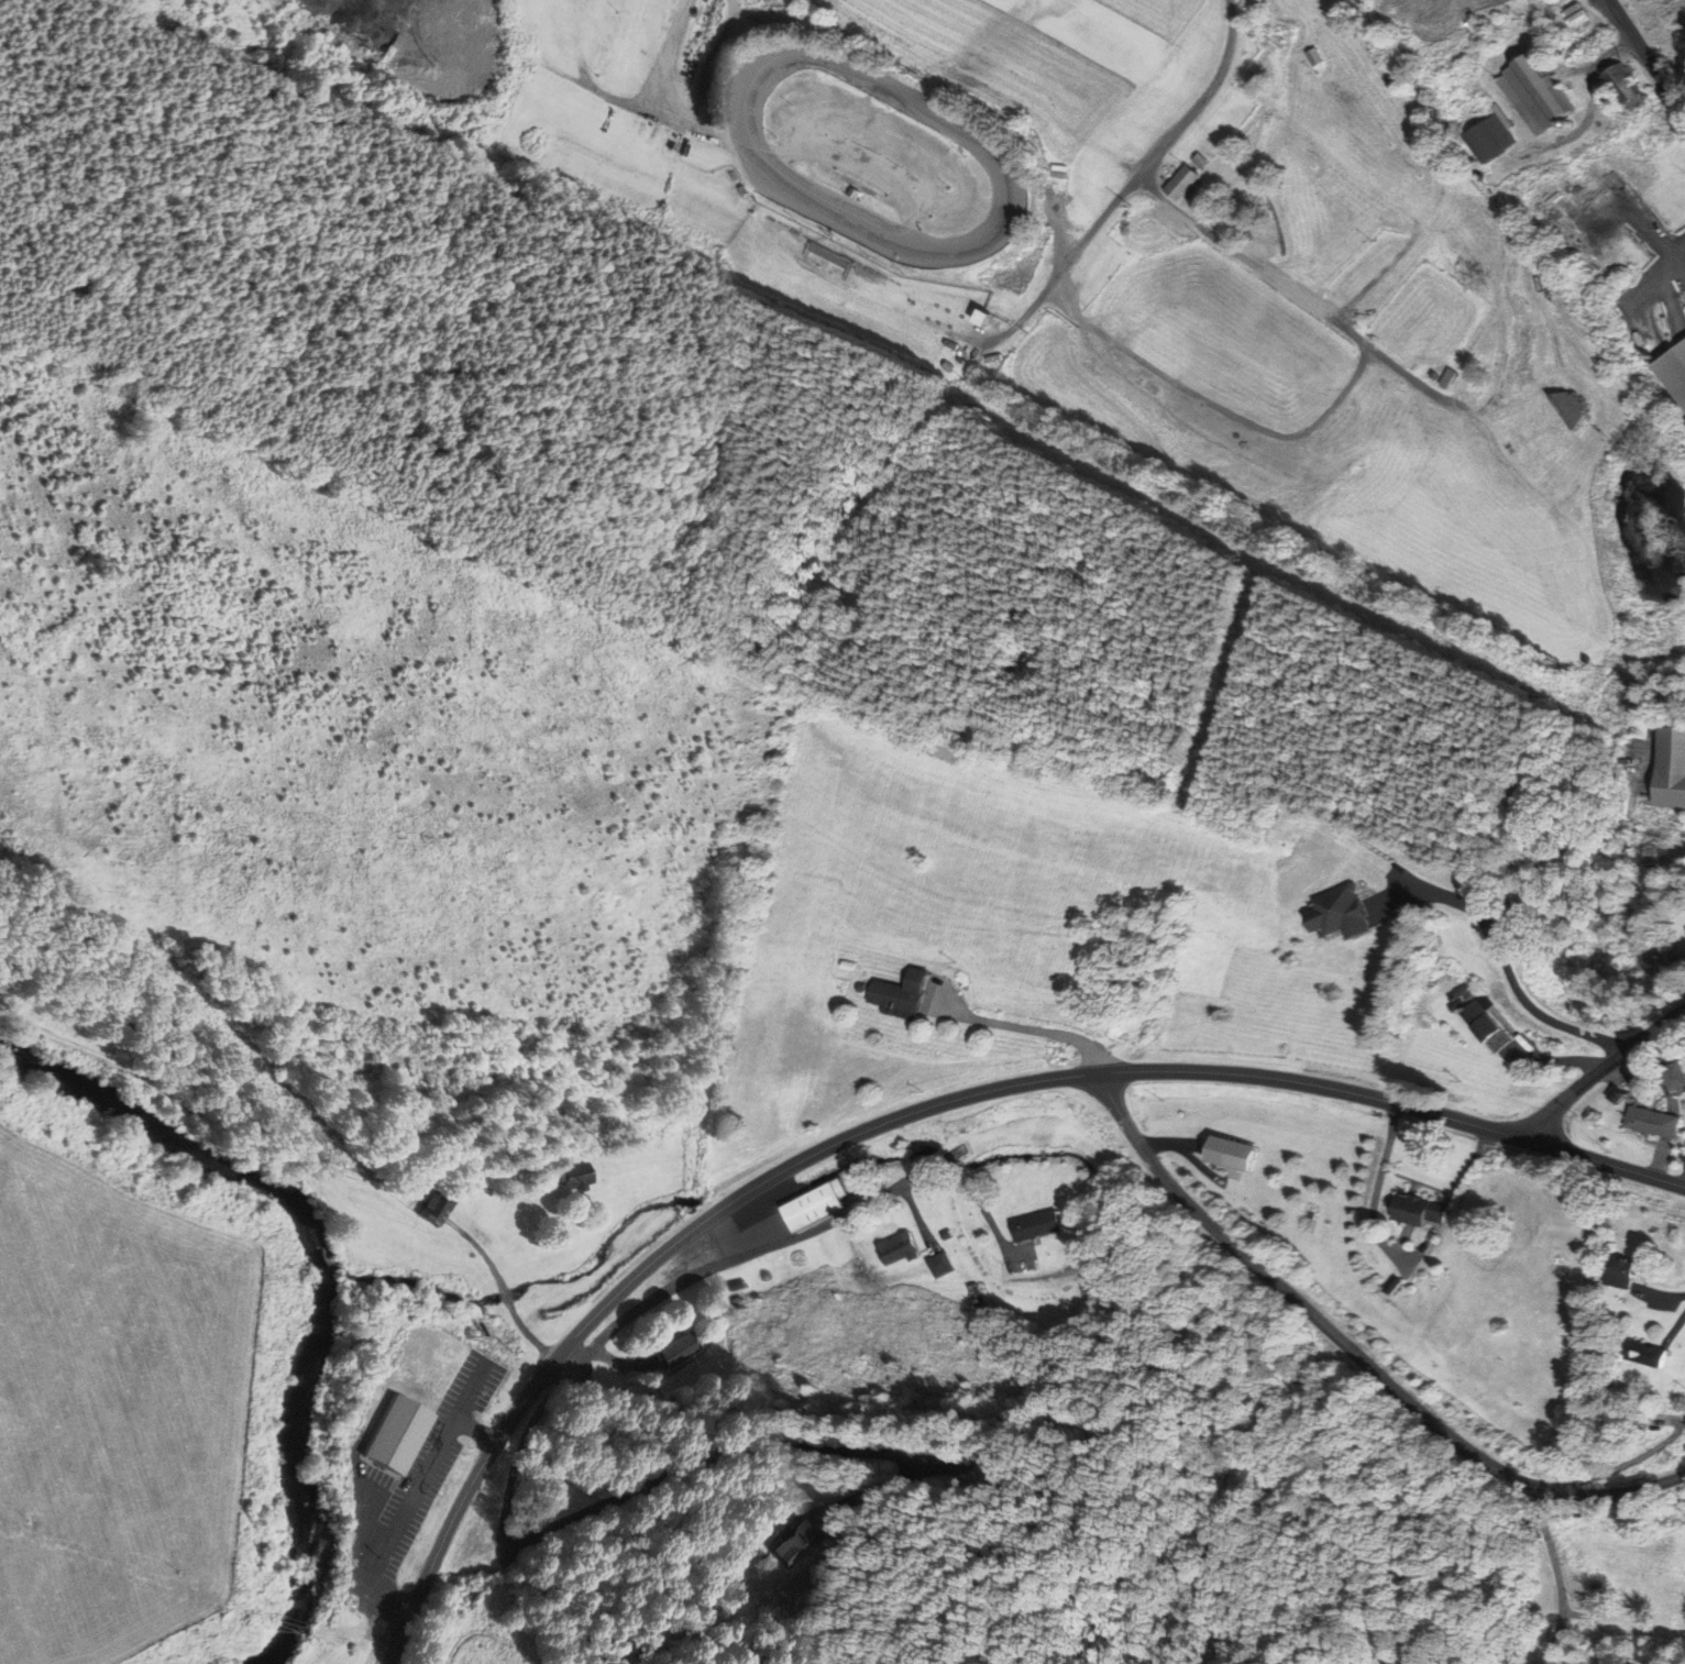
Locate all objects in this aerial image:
road: (1647, 57)
building: (1625, 85)
road: (1204, 97)
building: (1537, 97)
building: (1491, 140)
building: (1201, 162)
raceway: (759, 183)
building: (1181, 185)
building: (1135, 231)
building: (981, 320)
building: (1491, 344)
building: (1674, 372)
building: (1568, 410)
road: (1281, 434)
building: (1670, 771)
building: (1343, 912)
building: (1659, 965)
building: (904, 994)
building: (1485, 1020)
road: (1027, 1027)
road: (1603, 1068)
building: (1674, 1076)
road: (915, 1112)
building: (1651, 1122)
river: (183, 1140)
road: (1188, 1151)
building: (1234, 1153)
building: (574, 1175)
building: (577, 1183)
building: (818, 1205)
building: (438, 1208)
building: (1420, 1210)
road: (985, 1212)
road: (917, 1219)
building: (1038, 1225)
building: (947, 1234)
building: (900, 1248)
road: (762, 1249)
building: (940, 1264)
building: (1620, 1271)
building: (737, 1285)
road: (505, 1291)
building: (977, 1293)
road: (1684, 1294)
building: (737, 1300)
building: (681, 1348)
road: (1354, 1352)
building: (1647, 1353)
road: (624, 1363)
building: (1622, 1417)
building: (396, 1435)
road: (1622, 1465)
river: (296, 1476)
road: (880, 1491)
road: (621, 1497)
building: (803, 1538)
road: (1556, 1572)

